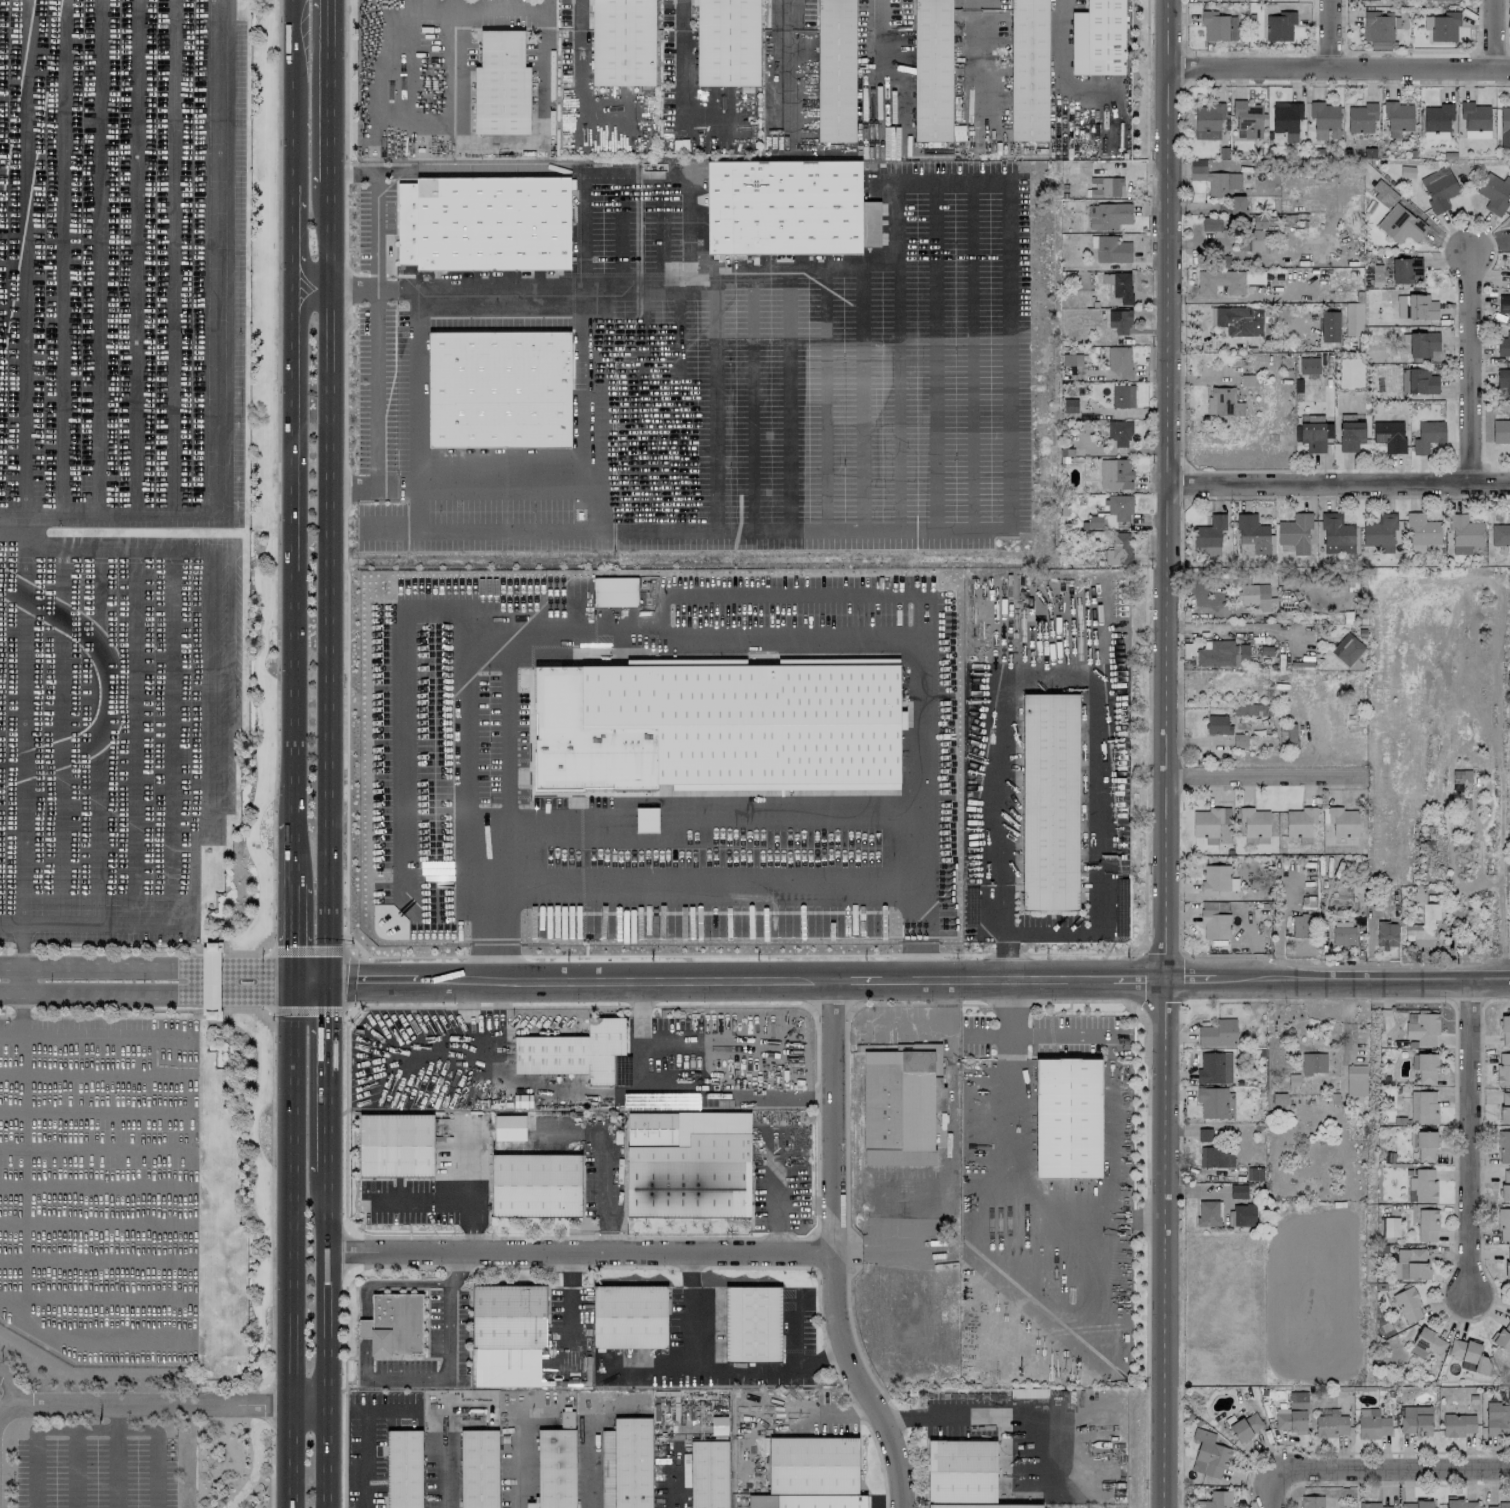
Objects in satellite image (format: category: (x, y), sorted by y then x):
building: (1368, 0)
building: (1442, 0)
road: (581, 5)
road: (500, 6)
building: (1218, 26)
building: (1280, 26)
building: (1442, 26)
road: (398, 27)
building: (1380, 28)
road: (1330, 34)
road: (1496, 34)
building: (1096, 38)
building: (622, 42)
building: (727, 42)
road: (1065, 65)
road: (972, 66)
road: (1339, 69)
road: (682, 70)
building: (834, 70)
building: (931, 70)
building: (1026, 70)
road: (777, 71)
building: (500, 84)
road: (331, 92)
road: (582, 96)
road: (292, 99)
building: (1398, 115)
building: (1361, 117)
building: (1286, 118)
building: (1475, 119)
building: (1207, 120)
building: (1325, 120)
building: (1437, 120)
building: (1505, 126)
raceway: (22, 138)
road: (531, 143)
road: (345, 146)
road: (683, 176)
building: (1219, 184)
building: (1439, 188)
building: (1494, 192)
building: (1384, 193)
building: (781, 208)
building: (1108, 215)
building: (1403, 221)
building: (1211, 223)
building: (482, 224)
building: (869, 224)
road: (375, 228)
building: (1252, 232)
road: (293, 241)
road: (583, 248)
building: (1112, 249)
road: (1244, 255)
building: (1405, 269)
building: (1106, 277)
building: (1227, 280)
building: (1122, 286)
road: (1248, 298)
building: (1504, 304)
building: (1416, 306)
building: (1354, 318)
building: (1234, 320)
building: (1119, 321)
building: (1421, 343)
building: (1504, 344)
road: (971, 352)
road: (935, 353)
road: (1465, 360)
building: (1120, 361)
building: (1308, 365)
building: (1503, 378)
building: (1418, 381)
road: (590, 386)
building: (498, 389)
road: (897, 395)
road: (825, 396)
road: (859, 396)
building: (1122, 396)
road: (787, 397)
road: (751, 398)
road: (713, 399)
road: (678, 401)
building: (1223, 402)
road: (641, 404)
building: (1070, 405)
building: (1501, 431)
building: (1119, 433)
building: (1350, 435)
building: (1389, 435)
building: (1428, 435)
building: (1313, 436)
parking lot: (118, 460)
building: (1114, 474)
road: (1339, 480)
road: (352, 488)
building: (1119, 507)
road: (997, 526)
road: (483, 531)
building: (1379, 531)
building: (1421, 531)
building: (1295, 532)
building: (1252, 533)
building: (1336, 534)
building: (1464, 534)
building: (1501, 534)
building: (1210, 535)
road: (277, 536)
building: (1245, 548)
building: (1118, 549)
road: (147, 552)
road: (293, 554)
road: (136, 573)
road: (329, 584)
road: (171, 591)
building: (615, 591)
road: (783, 595)
building: (1254, 595)
road: (347, 607)
road: (1234, 626)
road: (843, 631)
building: (1347, 649)
building: (1222, 653)
road: (1068, 676)
raceway: (110, 682)
road: (208, 704)
building: (714, 724)
building: (1218, 724)
building: (1288, 732)
road: (511, 737)
road: (402, 754)
road: (1168, 754)
road: (1269, 777)
building: (1460, 777)
building: (1049, 802)
road: (698, 814)
building: (647, 819)
building: (1343, 821)
building: (1209, 822)
building: (1254, 823)
building: (1300, 823)
road: (293, 864)
road: (133, 877)
road: (58, 879)
road: (94, 879)
building: (1217, 879)
building: (6, 881)
road: (1484, 884)
road: (11, 921)
road: (145, 921)
building: (1424, 922)
road: (911, 924)
building: (1215, 924)
road: (1454, 926)
building: (1343, 933)
building: (1387, 934)
building: (1300, 937)
road: (293, 943)
road: (22, 970)
road: (147, 972)
road: (350, 978)
road: (1336, 979)
building: (210, 980)
road: (265, 981)
traffic signals: (294, 982)
traffic signals: (327, 982)
road: (729, 983)
road: (236, 987)
road: (89, 991)
building: (1423, 1028)
building: (1505, 1030)
building: (1218, 1033)
road: (95, 1035)
road: (988, 1035)
road: (1040, 1035)
building: (573, 1052)
building: (1313, 1062)
building: (1424, 1067)
building: (1212, 1068)
building: (1503, 1069)
road: (95, 1074)
road: (327, 1079)
building: (1355, 1083)
road: (564, 1091)
building: (1278, 1098)
building: (1216, 1102)
building: (1423, 1106)
building: (897, 1107)
building: (1505, 1107)
road: (95, 1110)
building: (1067, 1118)
building: (509, 1127)
road: (1109, 1129)
building: (1204, 1134)
road: (1470, 1136)
building: (395, 1145)
building: (1425, 1146)
building: (1504, 1146)
road: (95, 1148)
building: (1216, 1156)
road: (272, 1161)
road: (602, 1161)
building: (683, 1169)
road: (95, 1185)
parking lot: (100, 1185)
building: (535, 1185)
building: (1422, 1185)
building: (1505, 1185)
road: (191, 1190)
road: (1016, 1190)
building: (1238, 1191)
road: (453, 1198)
building: (1209, 1213)
building: (1244, 1214)
road: (95, 1222)
building: (1504, 1224)
building: (1427, 1225)
building: (1391, 1226)
road: (294, 1245)
road: (832, 1252)
road: (579, 1253)
road: (21, 1256)
building: (1507, 1263)
building: (1410, 1264)
road: (363, 1292)
road: (95, 1297)
road: (563, 1302)
building: (1407, 1304)
road: (685, 1311)
building: (509, 1316)
building: (629, 1317)
building: (395, 1322)
building: (752, 1323)
road: (793, 1336)
building: (1503, 1336)
road: (326, 1342)
building: (1427, 1343)
road: (445, 1346)
building: (363, 1348)
building: (1469, 1354)
road: (821, 1362)
road: (704, 1371)
road: (10, 1388)
road: (162, 1404)
road: (271, 1404)
road: (844, 1407)
road: (799, 1411)
building: (1292, 1414)
road: (114, 1416)
road: (982, 1416)
building: (1498, 1417)
building: (1415, 1419)
building: (1372, 1423)
building: (1457, 1424)
building: (1331, 1425)
building: (1246, 1426)
road: (93, 1428)
road: (363, 1436)
building: (1209, 1454)
road: (592, 1461)
building: (631, 1462)
road: (518, 1464)
road: (1393, 1467)
road: (32, 1468)
road: (74, 1468)
road: (114, 1468)
road: (154, 1468)
road: (270, 1468)
building: (555, 1468)
building: (403, 1469)
road: (449, 1469)
building: (479, 1469)
parking lot: (94, 1472)
building: (814, 1472)
building: (708, 1474)
building: (963, 1475)
road: (1275, 1488)
building: (1216, 1500)
building: (1311, 1501)
building: (1460, 1503)
building: (1416, 1504)
building: (1372, 1505)
building: (1500, 1505)

